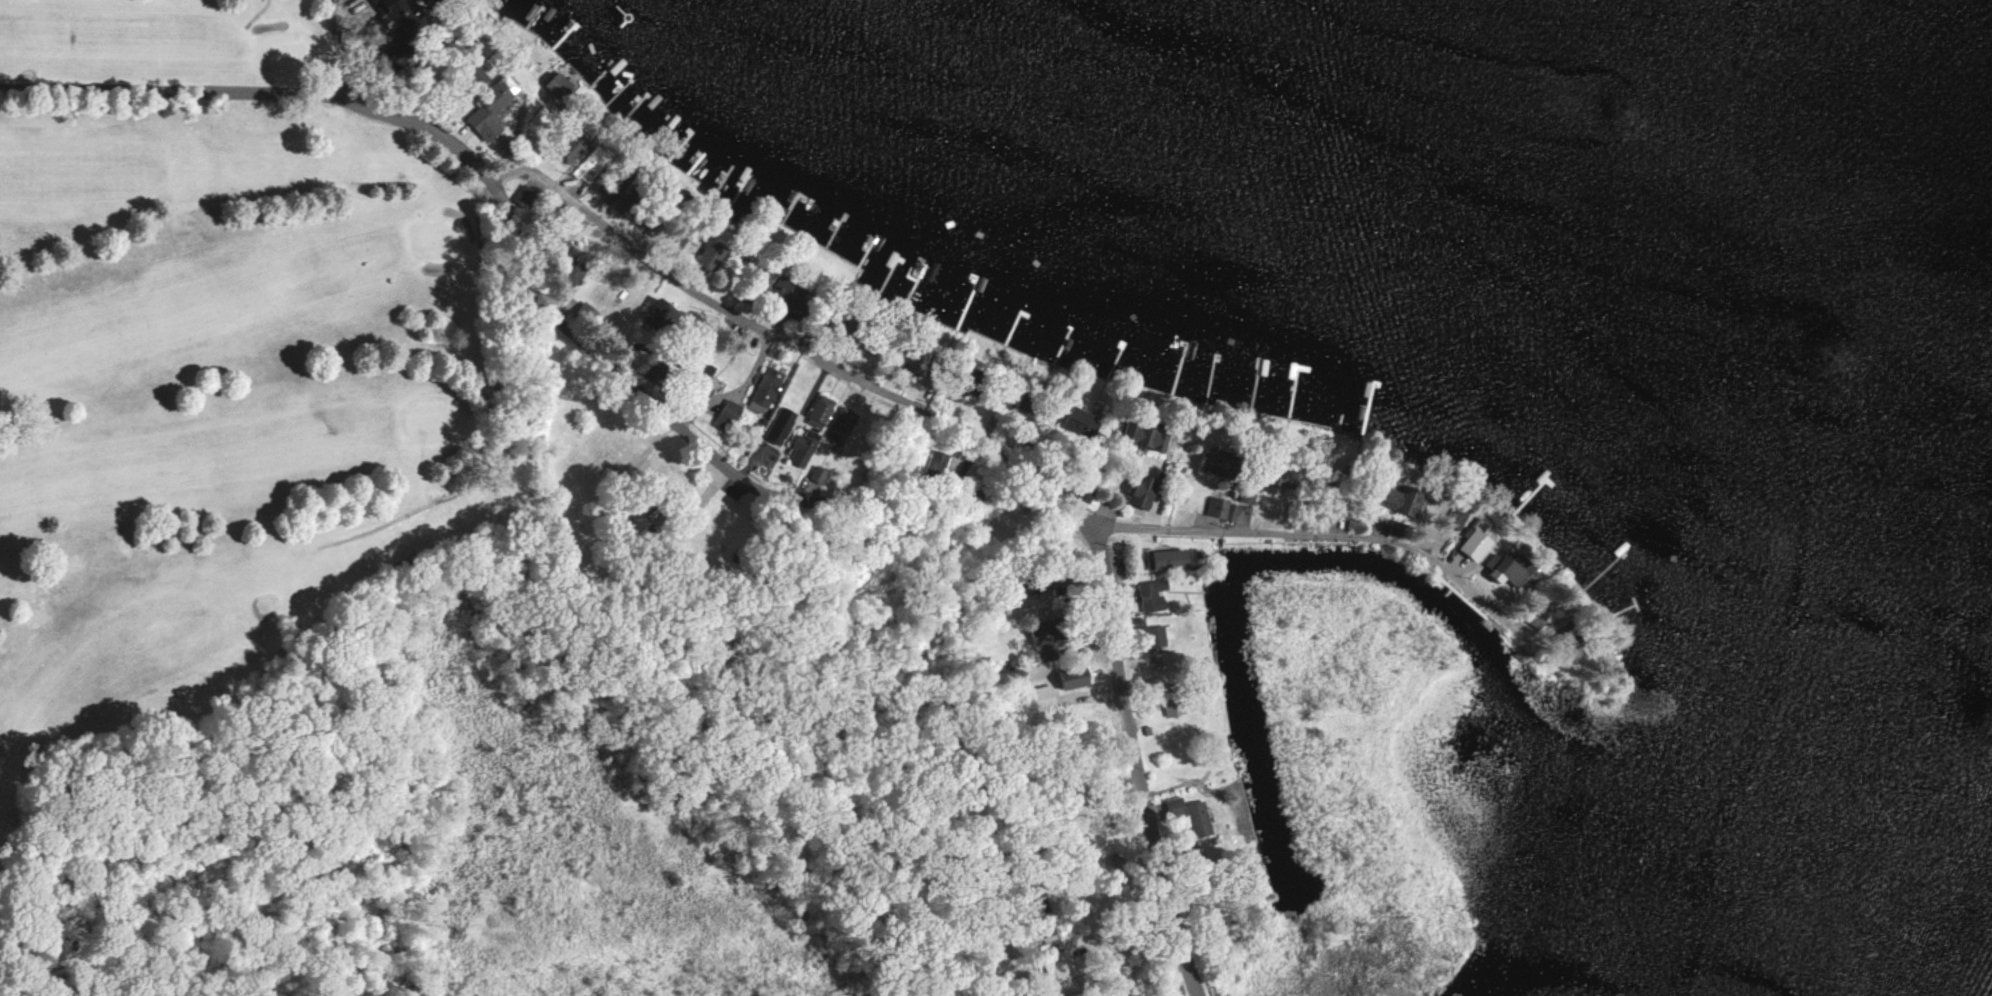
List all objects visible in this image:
road: (255, 14)
building: (400, 25)
road: (344, 49)
building: (471, 72)
building: (556, 86)
building: (489, 107)
building: (567, 146)
building: (586, 165)
road: (380, 183)
building: (524, 196)
building: (706, 255)
building: (571, 269)
building: (778, 288)
building: (583, 313)
building: (658, 315)
road: (758, 331)
road: (590, 340)
building: (702, 369)
building: (763, 390)
building: (818, 410)
building: (724, 415)
building: (843, 419)
building: (1078, 423)
building: (777, 425)
park: (251, 432)
building: (1143, 437)
building: (801, 447)
building: (934, 461)
building: (1217, 464)
building: (815, 473)
building: (1143, 492)
building: (1400, 499)
road: (429, 502)
building: (1217, 507)
building: (1456, 518)
road: (1358, 539)
building: (1474, 544)
building: (1167, 559)
building: (1508, 567)
building: (1152, 594)
building: (1536, 617)
building: (1154, 636)
building: (1073, 676)
building: (1039, 697)
building: (1170, 699)
road: (1138, 765)
building: (1191, 815)
road: (1123, 932)
building: (1061, 970)

